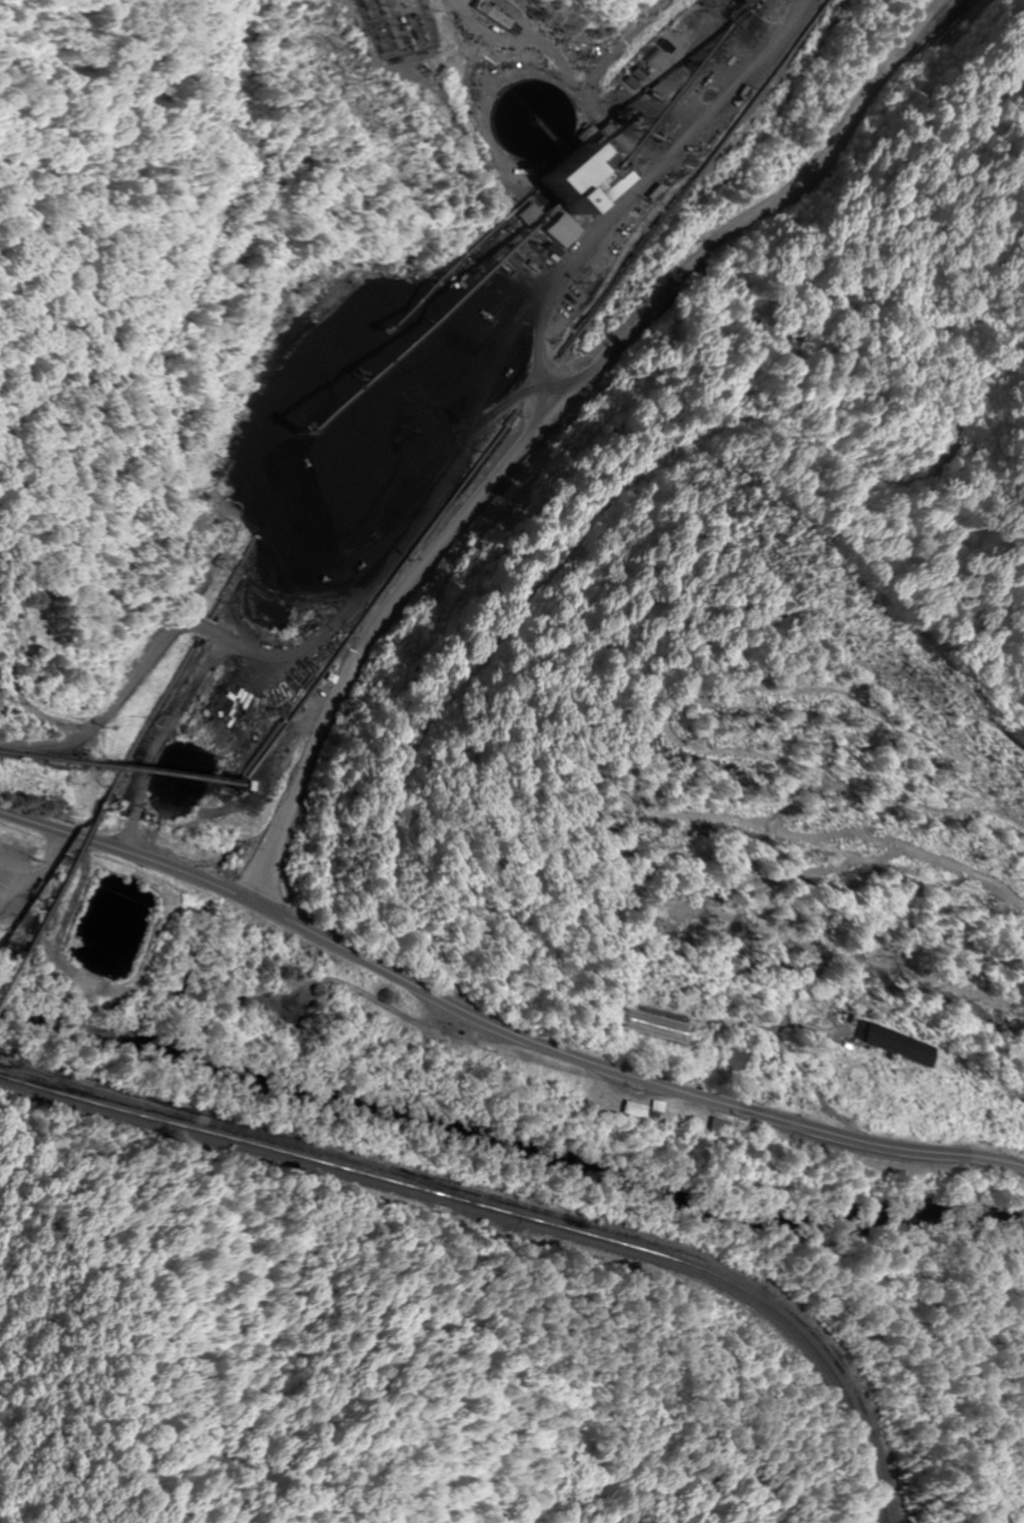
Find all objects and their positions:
building: (576, 180)
road: (550, 408)
park: (39, 627)
road: (498, 1026)
building: (892, 1044)
building: (732, 1060)
building: (652, 1106)
building: (628, 1109)
building: (713, 1126)
railway: (261, 1135)
river: (509, 1140)
railway: (516, 1215)
river: (1020, 1517)

